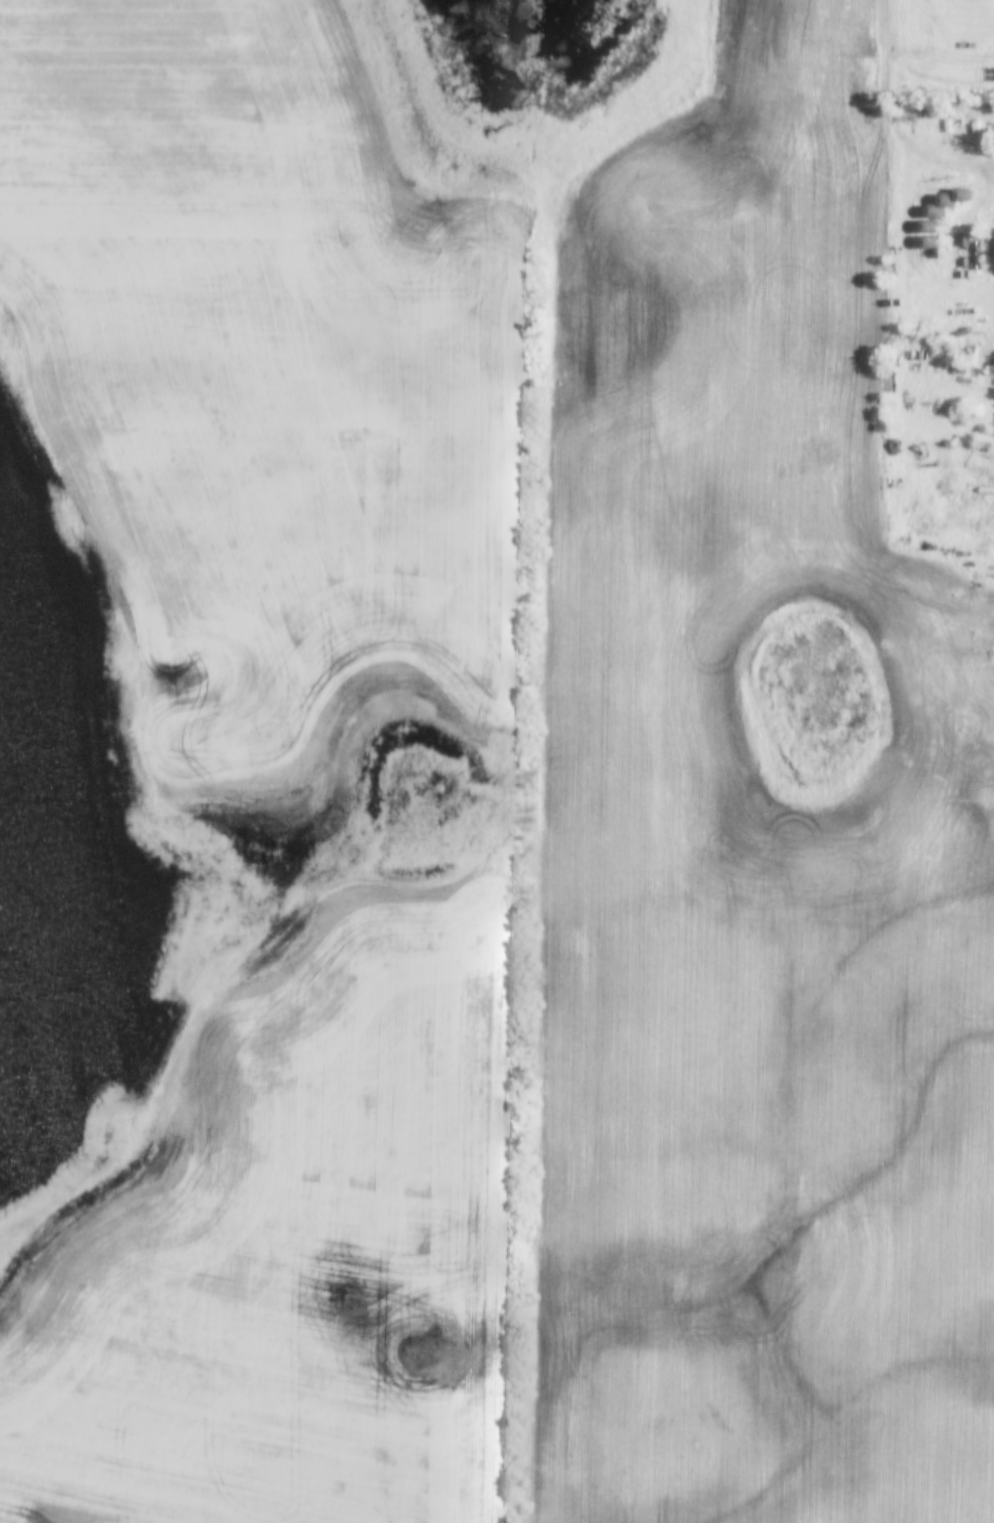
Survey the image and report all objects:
road: (887, 65)
building: (964, 194)
silo: (964, 194)
building: (948, 198)
silo: (948, 198)
building: (936, 210)
silo: (936, 210)
building: (929, 225)
silo: (929, 225)
building: (931, 241)
silo: (931, 241)
building: (993, 244)

